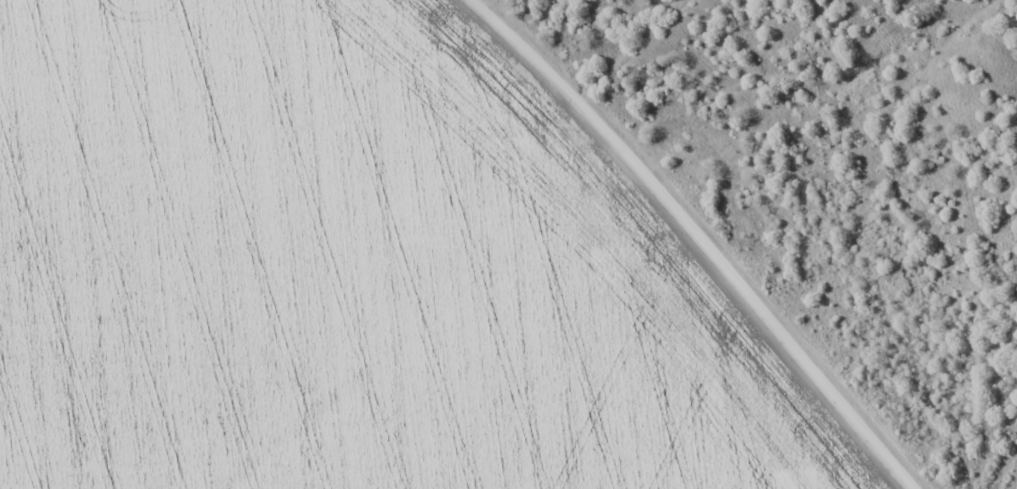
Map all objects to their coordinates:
road: (701, 222)

